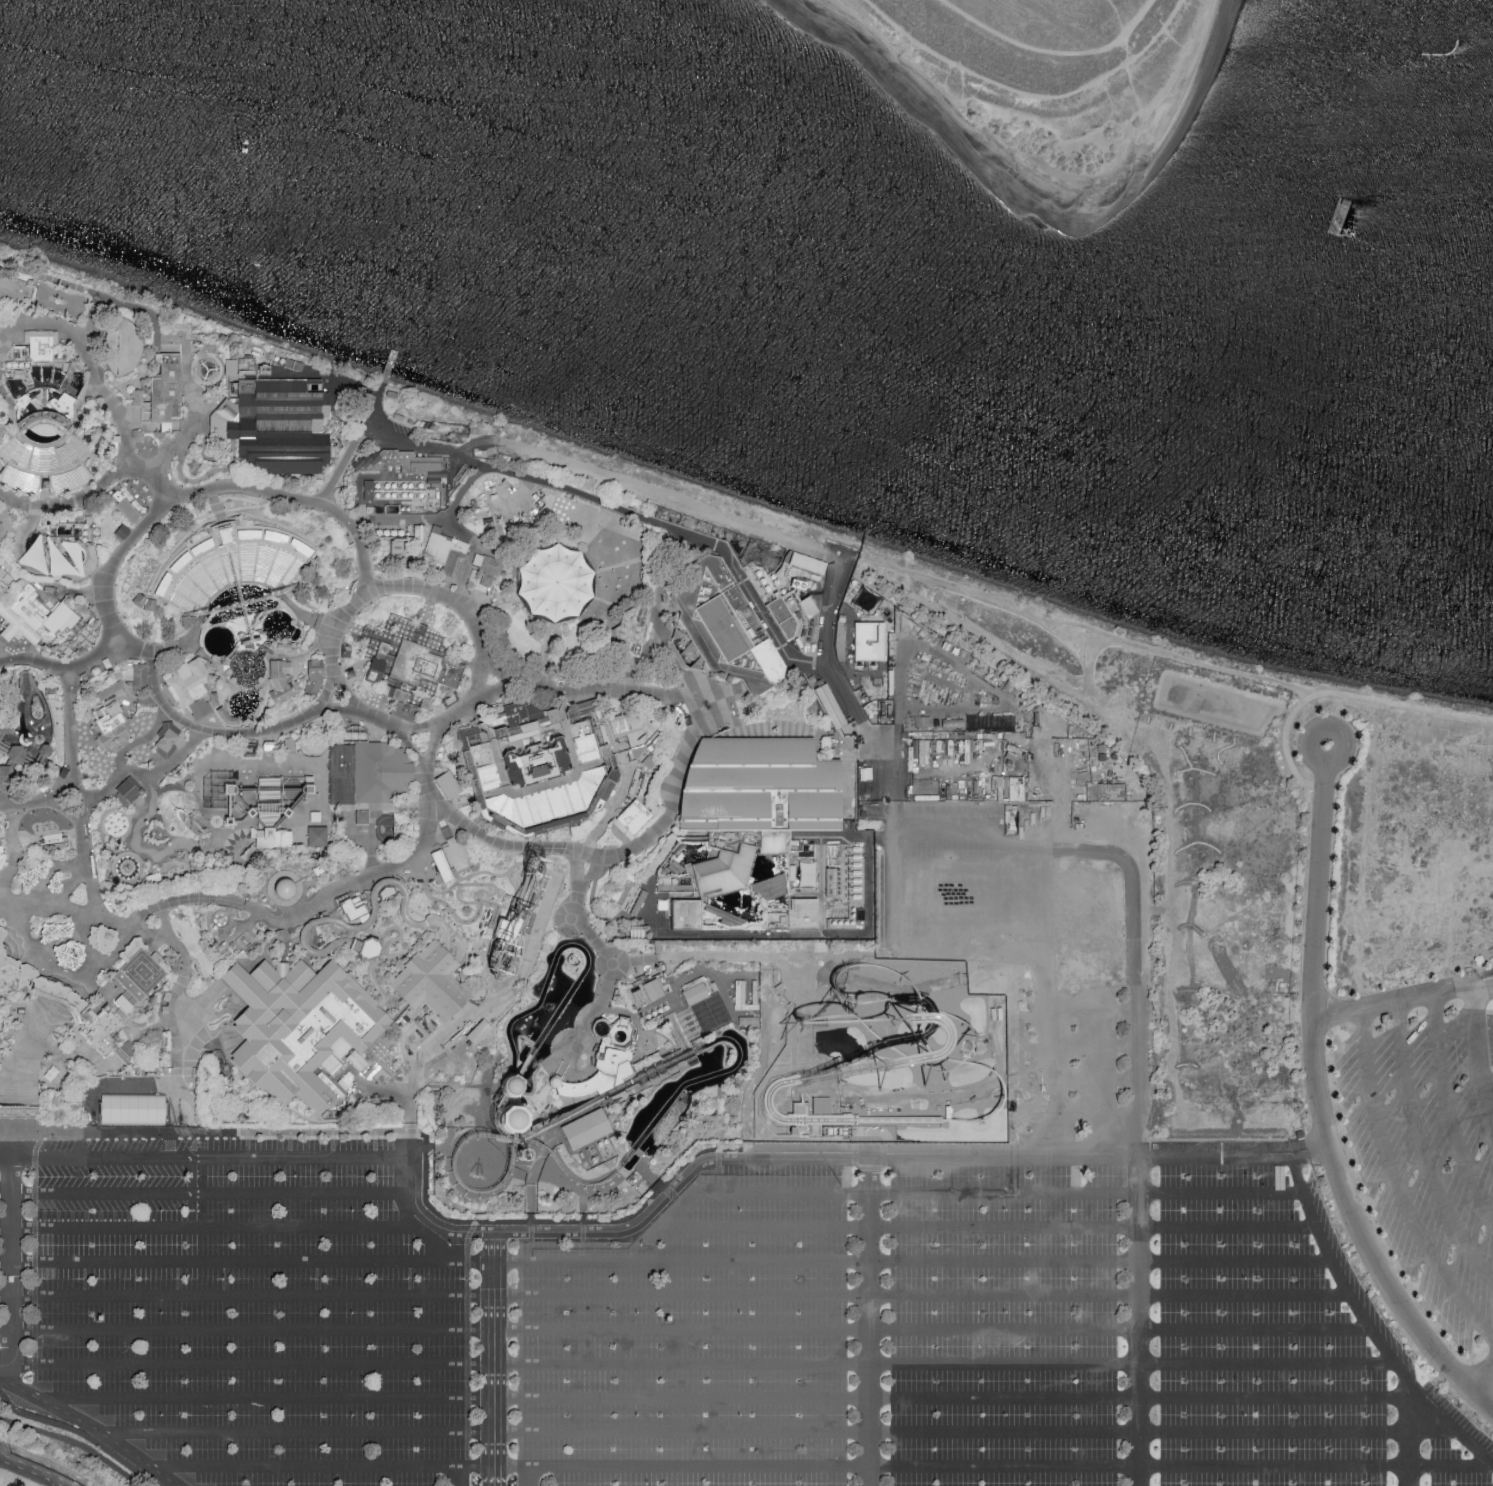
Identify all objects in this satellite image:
road: (1108, 17)
road: (1039, 72)
park: (1038, 77)
road: (72, 288)
building: (14, 290)
building: (51, 314)
road: (10, 329)
road: (96, 333)
road: (154, 343)
road: (146, 346)
building: (36, 348)
building: (121, 350)
road: (84, 353)
pier: (388, 366)
building: (229, 369)
building: (261, 371)
road: (262, 377)
building: (128, 392)
building: (162, 395)
building: (21, 399)
road: (193, 399)
road: (224, 399)
building: (62, 403)
road: (199, 403)
road: (204, 415)
building: (397, 421)
road: (83, 423)
building: (411, 425)
road: (4, 428)
building: (278, 428)
road: (155, 431)
building: (474, 434)
road: (53, 446)
road: (202, 456)
road: (95, 458)
road: (468, 465)
building: (401, 467)
building: (44, 468)
stadium: (44, 468)
road: (153, 470)
road: (340, 474)
road: (37, 476)
road: (41, 479)
road: (201, 479)
road: (312, 479)
road: (15, 484)
road: (67, 484)
road: (629, 486)
road: (202, 490)
road: (213, 491)
road: (41, 492)
building: (368, 493)
road: (41, 497)
road: (4, 498)
building: (496, 498)
road: (75, 499)
road: (215, 500)
road: (255, 504)
road: (607, 508)
building: (389, 509)
building: (127, 510)
road: (522, 512)
park: (571, 516)
road: (219, 518)
road: (4, 521)
road: (215, 521)
road: (359, 521)
road: (352, 523)
building: (76, 524)
road: (14, 529)
road: (260, 529)
building: (120, 534)
road: (233, 537)
road: (254, 537)
road: (462, 537)
building: (220, 539)
road: (210, 544)
road: (264, 546)
building: (393, 548)
road: (181, 551)
building: (441, 553)
road: (186, 558)
building: (311, 562)
building: (807, 564)
road: (676, 565)
building: (488, 570)
road: (32, 571)
road: (184, 573)
building: (53, 578)
road: (237, 580)
road: (463, 584)
building: (554, 584)
road: (395, 586)
road: (84, 593)
road: (55, 595)
street lamp: (289, 599)
road: (488, 603)
building: (139, 605)
road: (427, 605)
building: (807, 611)
road: (584, 612)
road: (666, 612)
building: (33, 615)
street lamp: (311, 615)
street lamp: (196, 618)
building: (780, 620)
road: (608, 622)
road: (357, 627)
road: (609, 627)
building: (724, 630)
building: (633, 632)
road: (1, 638)
building: (459, 638)
street lamp: (180, 640)
road: (68, 641)
road: (1119, 641)
road: (326, 643)
building: (868, 643)
building: (282, 646)
building: (379, 650)
road: (12, 651)
building: (346, 652)
road: (664, 652)
road: (159, 653)
road: (98, 656)
road: (546, 656)
road: (617, 656)
road: (301, 658)
road: (37, 660)
street lamp: (205, 663)
road: (1028, 663)
road: (348, 664)
road: (961, 669)
building: (422, 670)
building: (348, 673)
building: (139, 676)
building: (314, 678)
building: (370, 679)
road: (507, 679)
building: (279, 684)
crop: (942, 686)
building: (108, 688)
building: (188, 690)
road: (1332, 697)
road: (715, 703)
building: (423, 704)
road: (566, 704)
road: (339, 707)
building: (400, 708)
street lamp: (80, 709)
building: (828, 709)
road: (441, 710)
road: (72, 714)
building: (522, 717)
building: (845, 719)
road: (378, 721)
road: (765, 725)
street lamp: (62, 726)
building: (107, 727)
building: (624, 727)
building: (3, 729)
road: (419, 729)
road: (11, 734)
road: (231, 736)
building: (529, 736)
building: (481, 738)
building: (22, 740)
building: (165, 742)
road: (561, 742)
road: (140, 743)
road: (568, 743)
road: (838, 743)
road: (34, 747)
building: (286, 747)
road: (410, 748)
building: (268, 749)
road: (494, 749)
road: (12, 752)
building: (42, 753)
building: (635, 753)
road: (8, 754)
building: (14, 757)
building: (649, 760)
road: (24, 762)
road: (70, 762)
road: (604, 762)
road: (254, 764)
road: (28, 766)
stadium: (539, 767)
building: (437, 768)
building: (482, 770)
building: (602, 772)
building: (5, 773)
theme park: (433, 773)
road: (846, 773)
road: (418, 774)
road: (576, 774)
building: (367, 776)
road: (573, 777)
road: (148, 781)
road: (674, 781)
building: (634, 783)
building: (444, 786)
road: (544, 786)
road: (1, 787)
building: (44, 788)
building: (758, 788)
building: (220, 791)
road: (617, 791)
building: (127, 794)
road: (246, 797)
road: (428, 800)
road: (468, 800)
road: (36, 801)
road: (2, 806)
building: (276, 807)
road: (59, 810)
road: (200, 810)
road: (390, 813)
building: (248, 814)
road: (374, 814)
building: (312, 815)
building: (634, 819)
building: (361, 820)
building: (227, 824)
building: (187, 825)
road: (610, 829)
road: (236, 830)
building: (444, 831)
park: (381, 833)
road: (596, 837)
building: (316, 839)
road: (844, 839)
building: (282, 841)
road: (568, 841)
road: (623, 841)
road: (82, 842)
road: (543, 842)
road: (894, 847)
road: (1070, 849)
building: (3, 853)
street lamp: (93, 854)
building: (249, 855)
road: (14, 856)
building: (450, 860)
road: (974, 870)
street lamp: (97, 873)
building: (720, 873)
road: (47, 875)
road: (595, 875)
building: (33, 876)
building: (807, 877)
building: (150, 880)
building: (830, 881)
building: (54, 883)
road: (73, 883)
road: (335, 887)
building: (628, 896)
road: (197, 899)
road: (975, 904)
building: (660, 905)
road: (879, 905)
road: (818, 907)
building: (354, 908)
road: (1057, 913)
road: (86, 915)
building: (795, 918)
road: (602, 920)
building: (504, 927)
building: (55, 932)
road: (800, 935)
building: (101, 939)
road: (84, 941)
road: (289, 941)
road: (976, 942)
road: (54, 944)
building: (366, 947)
building: (2, 949)
road: (2, 950)
road: (16, 953)
building: (69, 955)
road: (651, 962)
road: (837, 963)
road: (249, 965)
building: (139, 971)
building: (101, 974)
parking lot: (1034, 975)
building: (9, 976)
road: (51, 976)
road: (60, 976)
road: (1056, 978)
road: (184, 979)
road: (471, 979)
building: (467, 980)
building: (430, 982)
building: (48, 983)
building: (708, 985)
road: (45, 988)
building: (8, 989)
road: (605, 989)
toll booth: (44, 993)
building: (652, 993)
building: (635, 997)
building: (693, 997)
building: (54, 998)
road: (1402, 999)
building: (393, 1005)
building: (122, 1008)
road: (675, 1010)
road: (1083, 1013)
road: (628, 1017)
building: (748, 1019)
road: (168, 1024)
road: (764, 1025)
building: (0, 1026)
building: (600, 1026)
building: (298, 1029)
road: (135, 1030)
building: (99, 1031)
building: (620, 1031)
road: (215, 1032)
road: (575, 1036)
road: (584, 1039)
road: (663, 1039)
road: (596, 1044)
road: (1087, 1045)
road: (1476, 1050)
road: (29, 1051)
building: (125, 1052)
road: (122, 1054)
toll booth: (118, 1058)
building: (610, 1062)
building: (644, 1065)
road: (66, 1066)
road: (560, 1072)
building: (52, 1073)
fountain: (687, 1077)
road: (1090, 1079)
road: (417, 1080)
building: (552, 1083)
road: (650, 1085)
road: (466, 1087)
fountain: (671, 1087)
building: (505, 1090)
building: (573, 1092)
road: (402, 1098)
road: (620, 1099)
fountain: (658, 1101)
road: (1319, 1103)
road: (177, 1105)
building: (821, 1105)
building: (799, 1107)
building: (135, 1109)
building: (16, 1110)
road: (1449, 1112)
road: (1092, 1114)
road: (1489, 1115)
fountain: (678, 1116)
building: (507, 1119)
building: (800, 1129)
building: (584, 1132)
fountain: (662, 1134)
road: (426, 1135)
building: (223, 1138)
road: (1420, 1151)
road: (896, 1153)
parking lot: (1429, 1153)
road: (279, 1156)
building: (517, 1157)
road: (531, 1179)
road: (1394, 1188)
road: (7, 1193)
road: (986, 1193)
road: (207, 1194)
road: (401, 1204)
street lamp: (1000, 1209)
street lamp: (348, 1210)
road: (202, 1226)
road: (977, 1227)
road: (1140, 1233)
road: (14, 1261)
road: (247, 1262)
road: (912, 1262)
street lamp: (1240, 1278)
road: (247, 1296)
road: (921, 1297)
street lamp: (735, 1312)
street lamp: (1001, 1312)
road: (873, 1320)
road: (1365, 1323)
parking lot: (706, 1327)
road: (247, 1330)
road: (932, 1331)
road: (495, 1360)
road: (254, 1364)
road: (7, 1365)
road: (944, 1365)
road: (1482, 1379)
street lamp: (361, 1380)
road: (8, 1381)
road: (266, 1398)
road: (951, 1399)
street lamp: (1000, 1414)
street lamp: (1239, 1415)
street lamp: (735, 1416)
road: (92, 1425)
road: (297, 1431)
road: (975, 1433)
road: (1407, 1434)
road: (80, 1435)
road: (74, 1443)
road: (321, 1465)
road: (993, 1466)
road: (39, 1468)
road: (465, 1476)
road: (533, 1476)

